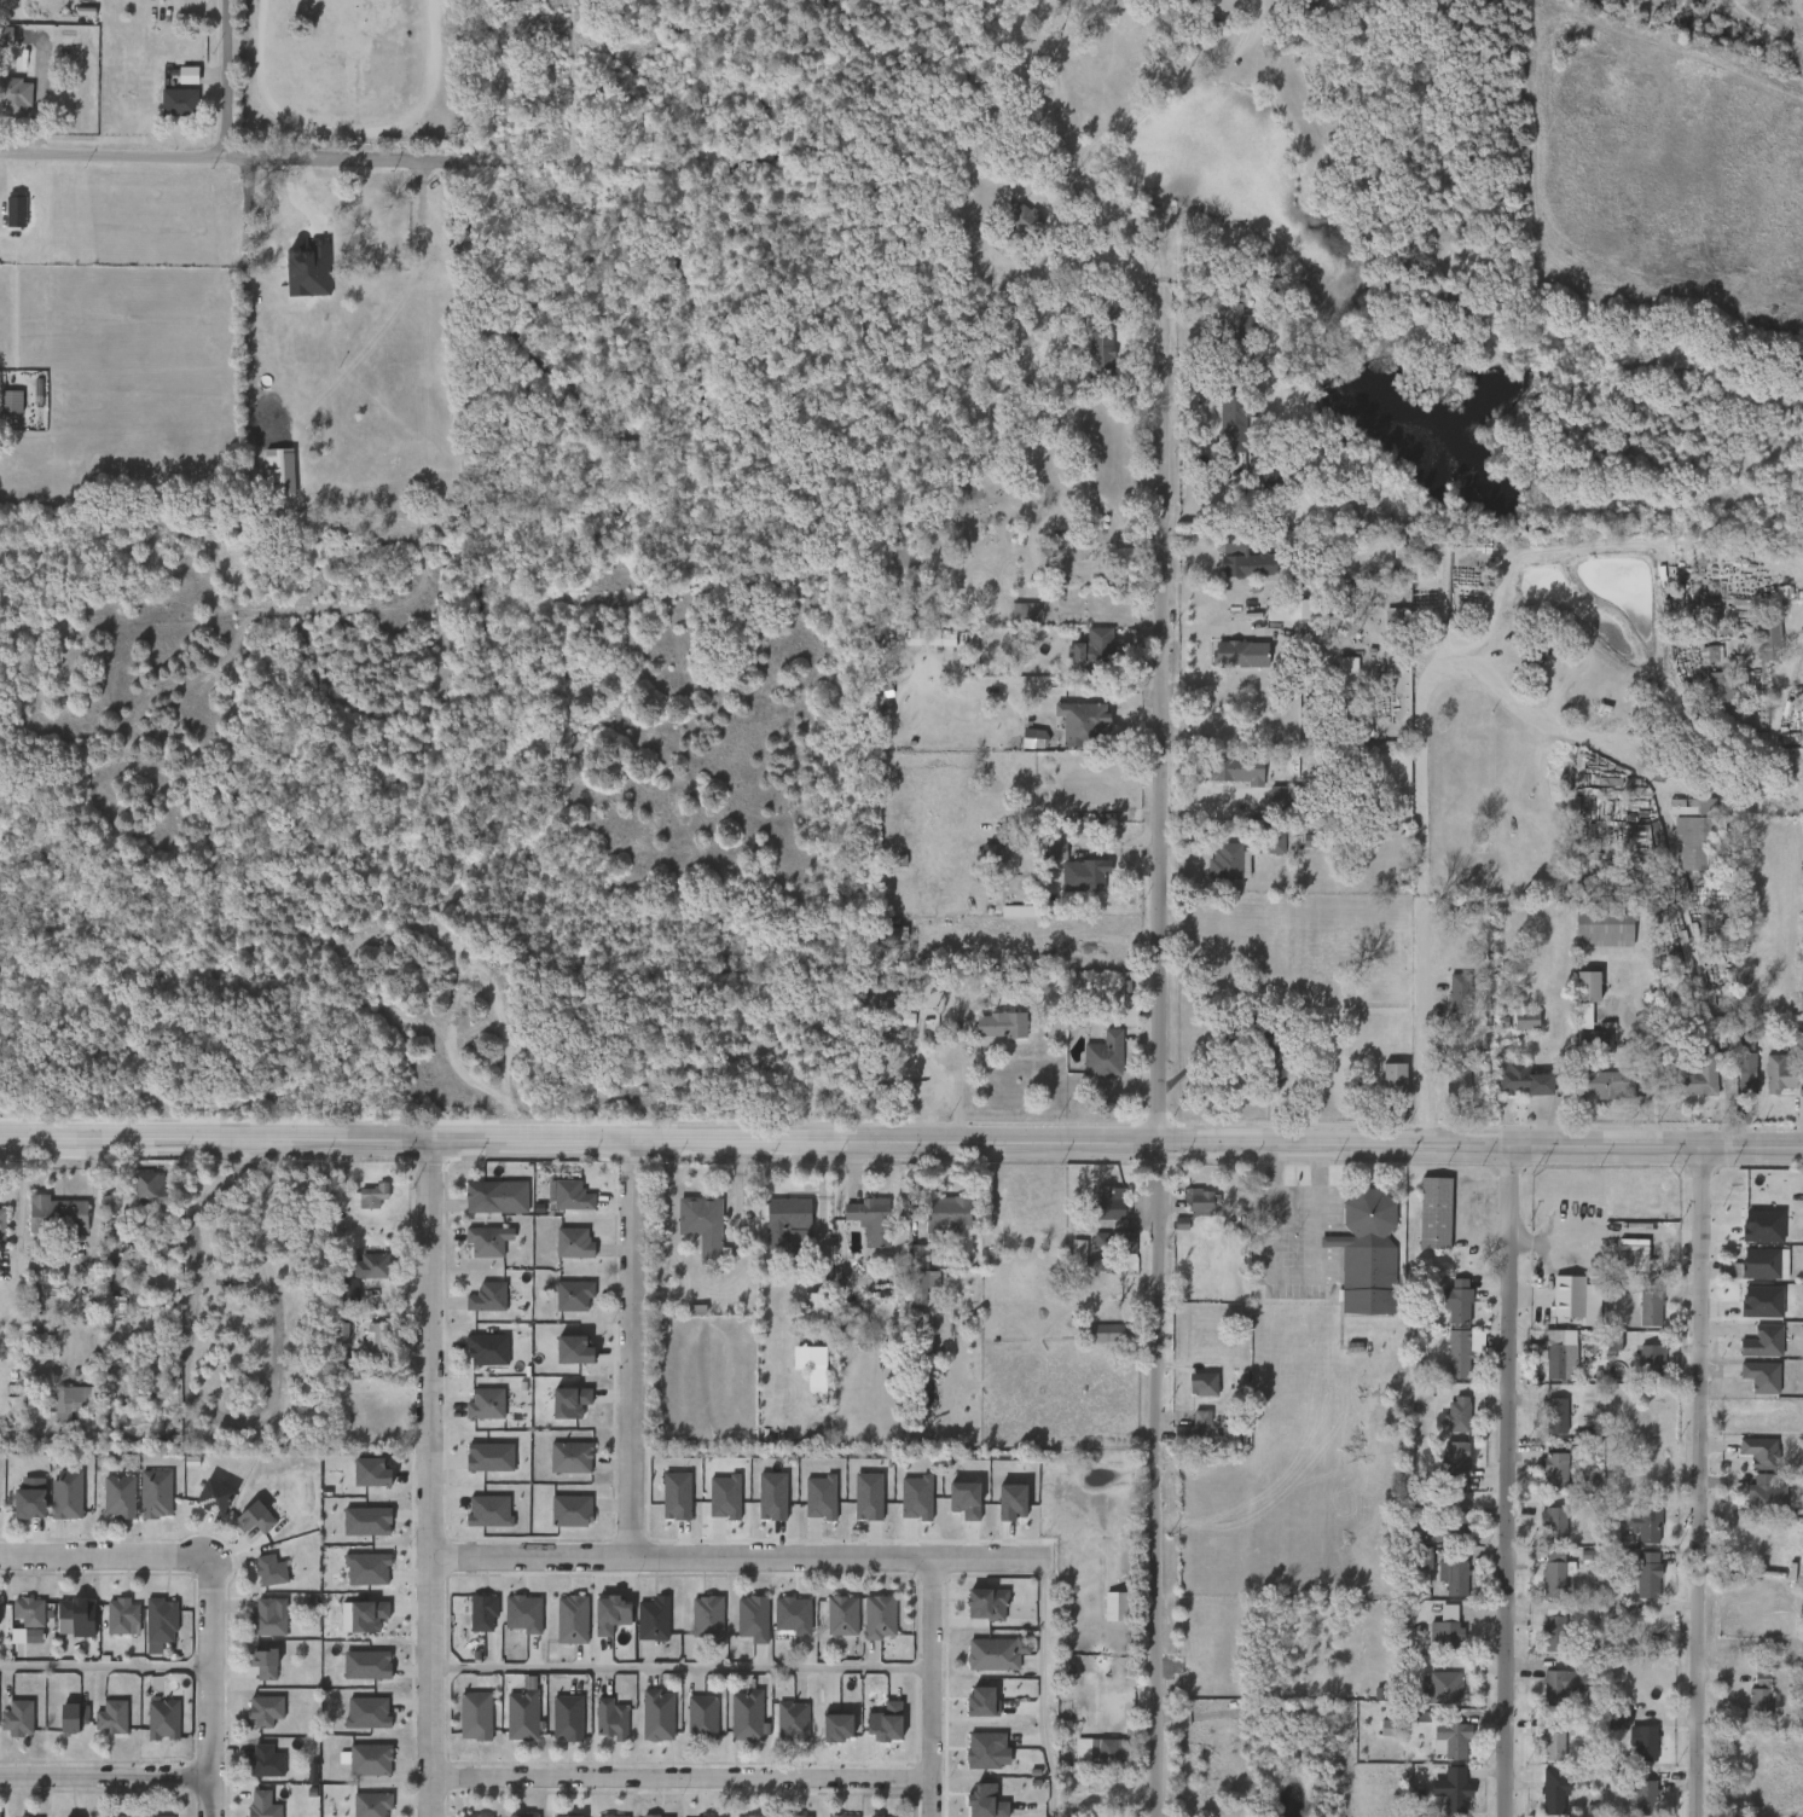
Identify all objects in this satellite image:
building: (1802, 6)
building: (1202, 25)
road: (226, 79)
building: (17, 101)
building: (178, 101)
building: (166, 112)
road: (224, 158)
road: (1080, 161)
building: (16, 210)
building: (375, 210)
building: (267, 215)
building: (6, 220)
building: (1016, 225)
building: (254, 226)
building: (296, 279)
building: (1447, 301)
building: (1428, 308)
building: (1233, 317)
building: (11, 402)
building: (1234, 408)
building: (1221, 433)
building: (278, 469)
building: (1272, 483)
building: (1257, 487)
building: (1245, 557)
building: (1233, 570)
building: (1026, 610)
building: (1279, 620)
building: (1013, 621)
building: (1382, 625)
building: (1399, 637)
building: (1768, 642)
building: (917, 648)
building: (1755, 651)
building: (1229, 654)
building: (1095, 655)
building: (1335, 680)
building: (1726, 689)
building: (1712, 699)
building: (1082, 722)
building: (1351, 744)
building: (1237, 768)
building: (1223, 779)
building: (1281, 797)
road: (1418, 803)
building: (1268, 806)
building: (1695, 832)
building: (1268, 843)
building: (1679, 844)
building: (993, 853)
building: (1262, 853)
building: (1042, 860)
building: (1229, 863)
building: (980, 864)
building: (1214, 872)
building: (1080, 876)
building: (1602, 928)
building: (1589, 986)
building: (1460, 992)
building: (1573, 995)
building: (1445, 1003)
building: (1527, 1018)
building: (1117, 1020)
building: (999, 1023)
building: (1513, 1029)
building: (1715, 1029)
building: (995, 1035)
building: (1594, 1039)
building: (1579, 1047)
building: (1270, 1050)
building: (1103, 1055)
road: (1154, 1055)
road: (1198, 1058)
building: (1781, 1068)
building: (1700, 1072)
building: (1749, 1074)
building: (1732, 1075)
building: (1456, 1079)
building: (1600, 1079)
building: (1396, 1080)
building: (1521, 1081)
building: (1766, 1081)
building: (1380, 1089)
building: (1444, 1089)
building: (1686, 1089)
building: (1593, 1095)
road: (902, 1139)
building: (152, 1190)
building: (369, 1196)
building: (138, 1198)
building: (1107, 1202)
building: (556, 1204)
building: (483, 1206)
building: (1196, 1206)
building: (97, 1213)
building: (944, 1213)
building: (1096, 1213)
building: (1436, 1213)
building: (56, 1215)
building: (870, 1219)
building: (1421, 1223)
building: (784, 1224)
building: (701, 1225)
building: (1, 1227)
building: (486, 1242)
building: (574, 1243)
building: (1086, 1249)
building: (1111, 1249)
building: (561, 1253)
building: (1364, 1253)
building: (1767, 1264)
building: (378, 1265)
building: (921, 1273)
building: (1750, 1273)
building: (908, 1283)
road: (1280, 1285)
building: (349, 1289)
building: (573, 1295)
building: (1566, 1300)
building: (1456, 1301)
building: (1648, 1302)
building: (560, 1305)
building: (475, 1306)
building: (814, 1307)
building: (1443, 1311)
building: (1747, 1311)
building: (801, 1316)
building: (103, 1317)
building: (1636, 1318)
building: (1101, 1333)
building: (1766, 1341)
building: (376, 1342)
building: (1091, 1342)
building: (363, 1346)
road: (631, 1348)
building: (487, 1349)
building: (1750, 1351)
building: (474, 1359)
building: (561, 1359)
building: (1457, 1360)
building: (1543, 1362)
building: (1648, 1362)
building: (27, 1363)
building: (1559, 1363)
building: (817, 1364)
building: (1637, 1369)
building: (798, 1375)
building: (1763, 1376)
building: (1204, 1384)
building: (1747, 1386)
building: (1189, 1393)
building: (70, 1401)
building: (486, 1404)
building: (557, 1411)
building: (473, 1413)
building: (1456, 1415)
building: (1554, 1415)
building: (1444, 1424)
building: (1543, 1424)
building: (1185, 1427)
building: (1172, 1441)
building: (1759, 1452)
building: (567, 1457)
building: (1745, 1458)
building: (1456, 1463)
building: (477, 1467)
building: (1444, 1467)
building: (1553, 1469)
road: (430, 1478)
road: (1505, 1479)
building: (1542, 1480)
building: (358, 1481)
road: (1698, 1481)
building: (155, 1492)
building: (1767, 1492)
building: (65, 1494)
building: (211, 1494)
building: (118, 1497)
building: (28, 1499)
building: (1801, 1499)
building: (143, 1503)
building: (1752, 1504)
building: (106, 1505)
building: (662, 1505)
building: (759, 1505)
building: (854, 1505)
building: (202, 1507)
building: (711, 1507)
building: (807, 1507)
building: (903, 1507)
building: (951, 1509)
building: (567, 1510)
building: (998, 1510)
building: (254, 1516)
building: (476, 1520)
building: (1449, 1523)
building: (1553, 1523)
building: (1647, 1526)
building: (242, 1528)
building: (354, 1531)
building: (1633, 1532)
building: (1540, 1533)
building: (1434, 1540)
road: (98, 1557)
road: (736, 1557)
building: (1419, 1558)
building: (1541, 1565)
building: (1410, 1568)
building: (269, 1569)
building: (1553, 1574)
building: (1650, 1574)
building: (1451, 1575)
building: (354, 1578)
building: (257, 1580)
building: (1634, 1584)
building: (1440, 1586)
building: (1542, 1586)
building: (984, 1604)
building: (28, 1609)
building: (486, 1613)
building: (77, 1614)
building: (842, 1614)
building: (122, 1615)
building: (880, 1615)
building: (1102, 1615)
building: (267, 1618)
building: (160, 1619)
building: (651, 1619)
building: (705, 1619)
building: (750, 1619)
building: (575, 1620)
building: (470, 1621)
building: (1434, 1621)
building: (510, 1622)
building: (597, 1624)
building: (779, 1624)
building: (354, 1625)
building: (829, 1625)
building: (63, 1626)
building: (109, 1626)
building: (865, 1626)
building: (740, 1627)
building: (1553, 1627)
building: (560, 1629)
building: (16, 1630)
building: (147, 1632)
building: (1447, 1633)
building: (1540, 1636)
building: (1432, 1642)
building: (990, 1655)
building: (263, 1661)
road: (105, 1668)
road: (680, 1671)
building: (251, 1672)
building: (354, 1674)
building: (1559, 1685)
building: (1445, 1687)
road: (929, 1688)
road: (1040, 1688)
road: (210, 1689)
building: (1747, 1689)
building: (1548, 1694)
building: (1431, 1696)
building: (1759, 1705)
building: (265, 1709)
building: (968, 1711)
building: (1745, 1711)
building: (522, 1713)
building: (747, 1713)
building: (657, 1714)
building: (475, 1716)
building: (110, 1717)
building: (702, 1717)
building: (17, 1718)
building: (66, 1718)
building: (162, 1718)
building: (570, 1718)
building: (610, 1718)
building: (253, 1719)
building: (793, 1720)
building: (354, 1722)
building: (510, 1724)
building: (463, 1725)
building: (644, 1725)
building: (689, 1725)
building: (735, 1725)
building: (99, 1726)
building: (553, 1726)
building: (598, 1728)
building: (150, 1729)
building: (779, 1729)
building: (871, 1731)
building: (1604, 1731)
building: (824, 1735)
building: (1455, 1738)
building: (1642, 1742)
building: (1553, 1743)
building: (1437, 1749)
building: (1629, 1752)
building: (1538, 1754)
building: (1086, 1757)
building: (369, 1758)
building: (972, 1759)
building: (263, 1760)
building: (358, 1769)
building: (251, 1771)
road: (105, 1776)
road: (680, 1778)
building: (1555, 1789)
building: (1453, 1792)
building: (1541, 1795)
building: (1646, 1798)
building: (1440, 1801)
building: (1628, 1803)
building: (371, 1804)
building: (262, 1805)
building: (970, 1805)
building: (249, 1809)
building: (475, 1815)
building: (524, 1815)
building: (22, 1816)
building: (73, 1816)
building: (121, 1816)
building: (157, 1816)
building: (568, 1816)
building: (610, 1816)
building: (648, 1816)
building: (705, 1816)
building: (750, 1816)
building: (839, 1816)
building: (872, 1816)

